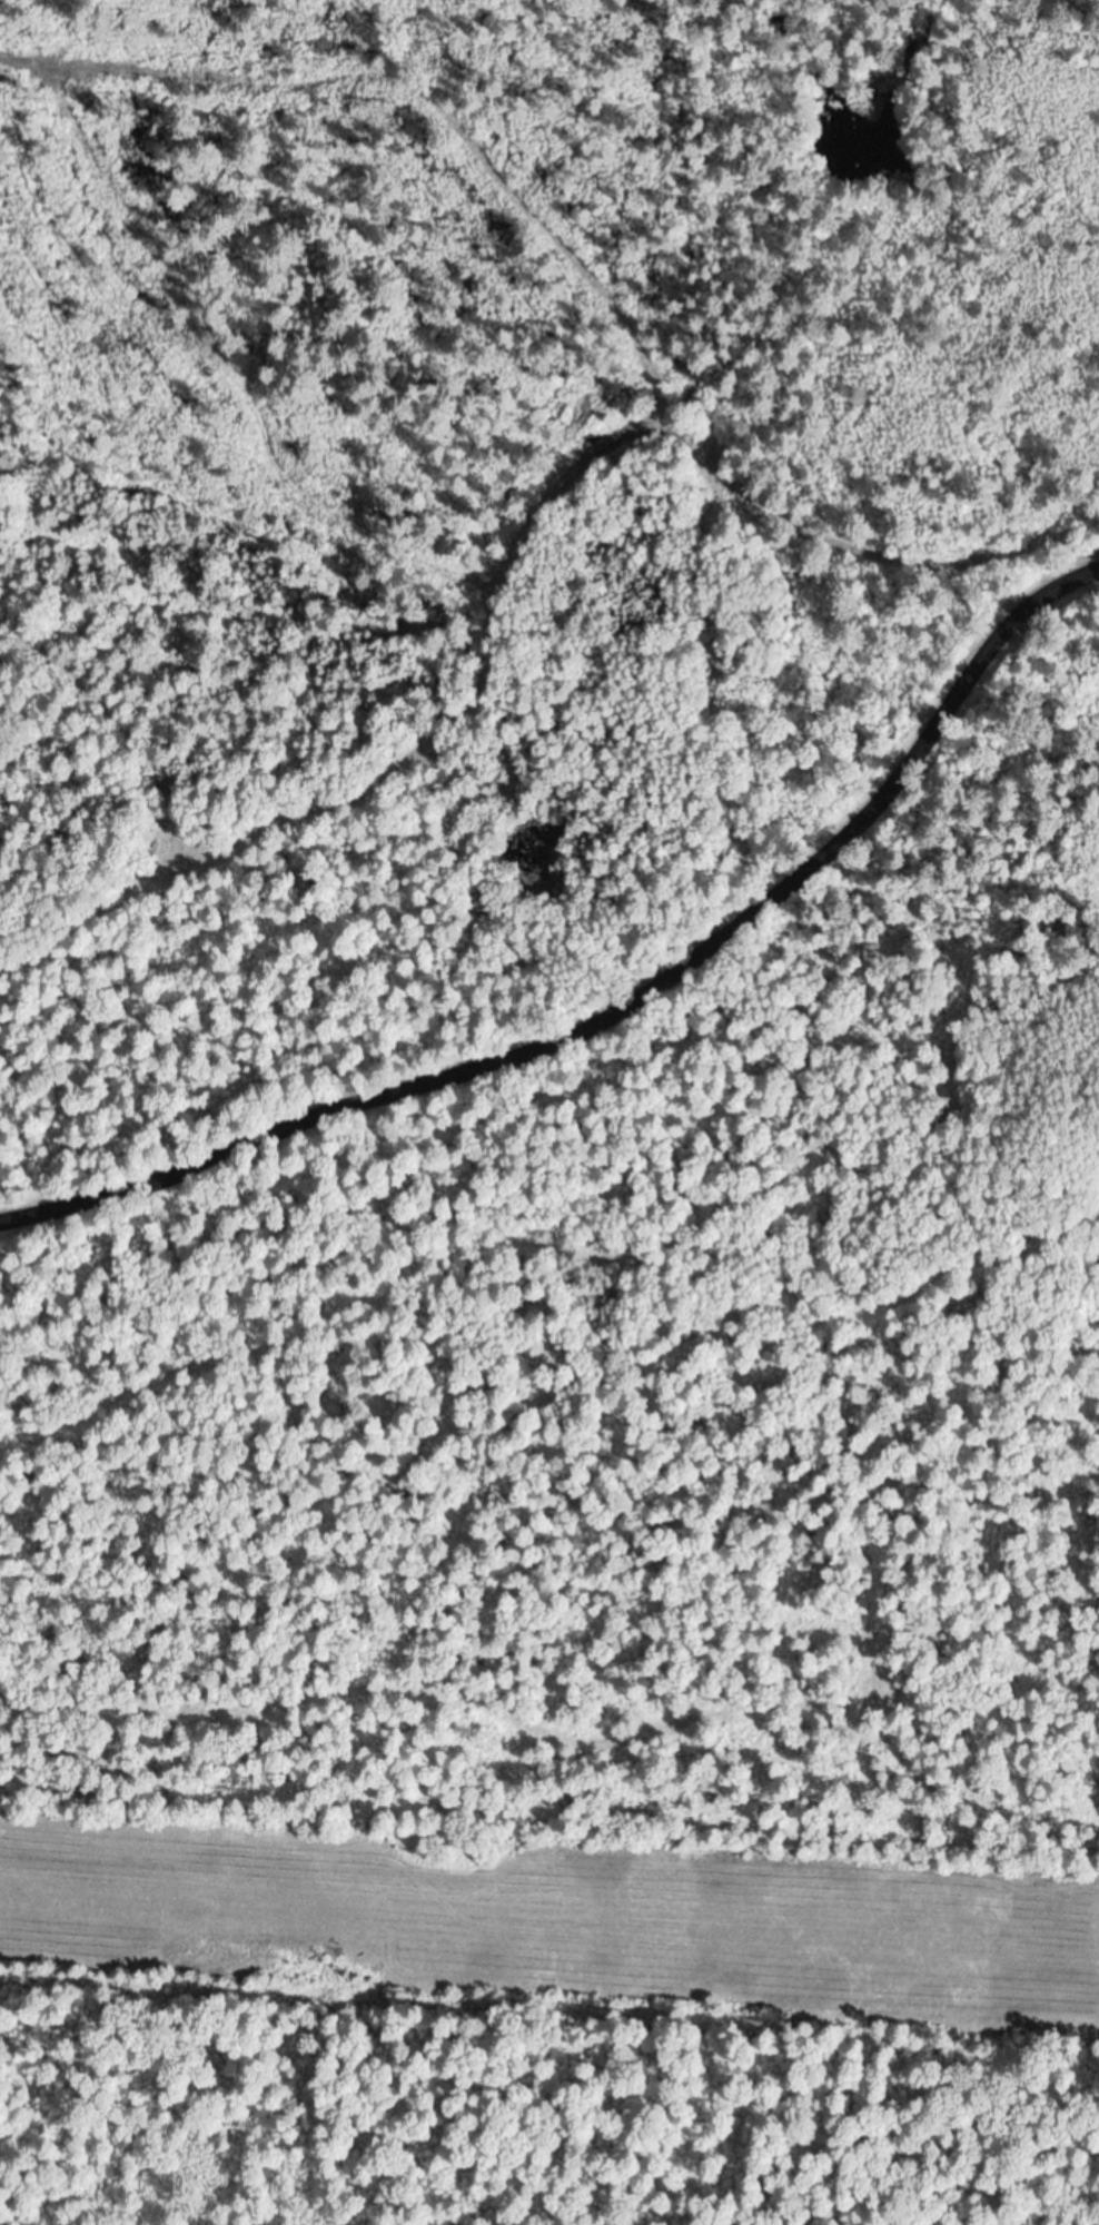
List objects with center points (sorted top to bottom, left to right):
road: (529, 265)
road: (612, 992)
airport runway: (548, 1918)

